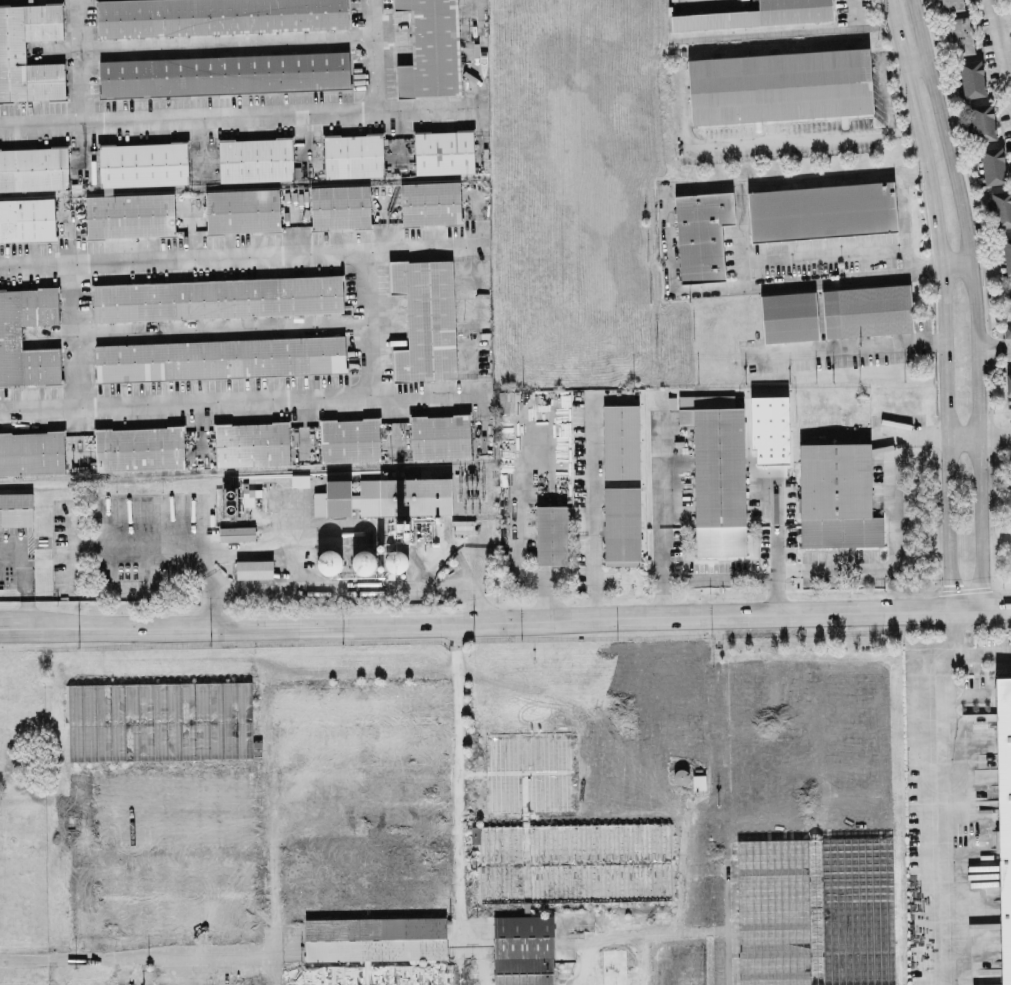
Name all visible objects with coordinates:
building: (951, 4)
building: (758, 14)
building: (216, 16)
building: (961, 32)
road: (1000, 40)
road: (202, 43)
building: (431, 49)
building: (12, 50)
road: (378, 54)
road: (77, 59)
road: (916, 65)
building: (224, 73)
building: (971, 77)
road: (882, 83)
building: (779, 85)
road: (239, 113)
building: (982, 118)
road: (762, 140)
building: (443, 151)
building: (353, 154)
building: (255, 158)
building: (993, 164)
building: (136, 189)
building: (30, 190)
building: (430, 202)
building: (340, 205)
building: (242, 209)
building: (821, 210)
road: (904, 219)
building: (1003, 227)
building: (702, 234)
road: (741, 239)
road: (241, 252)
road: (953, 261)
building: (217, 297)
road: (941, 300)
road: (971, 300)
building: (866, 309)
building: (789, 315)
building: (425, 318)
road: (360, 320)
road: (193, 328)
building: (1007, 329)
road: (73, 333)
building: (10, 335)
road: (846, 344)
road: (993, 344)
building: (219, 357)
building: (1007, 383)
road: (240, 399)
building: (769, 427)
road: (994, 434)
building: (440, 435)
road: (908, 435)
road: (962, 435)
building: (349, 439)
building: (621, 440)
road: (779, 440)
building: (252, 443)
building: (139, 447)
building: (32, 451)
building: (717, 472)
building: (299, 479)
road: (660, 485)
power substation: (474, 488)
building: (836, 495)
building: (385, 496)
building: (16, 508)
road: (590, 508)
building: (621, 525)
building: (236, 532)
building: (551, 534)
road: (166, 541)
road: (271, 547)
building: (330, 560)
building: (395, 560)
building: (363, 561)
building: (253, 568)
road: (299, 568)
road: (774, 570)
road: (660, 573)
road: (842, 574)
road: (22, 576)
road: (403, 589)
road: (214, 598)
road: (517, 619)
road: (11, 625)
road: (978, 652)
building: (157, 722)
road: (457, 780)
building: (698, 780)
road: (936, 794)
building: (360, 800)
building: (160, 811)
building: (1004, 813)
building: (571, 863)
building: (161, 896)
building: (814, 912)
building: (521, 938)
road: (125, 955)
building: (522, 972)

